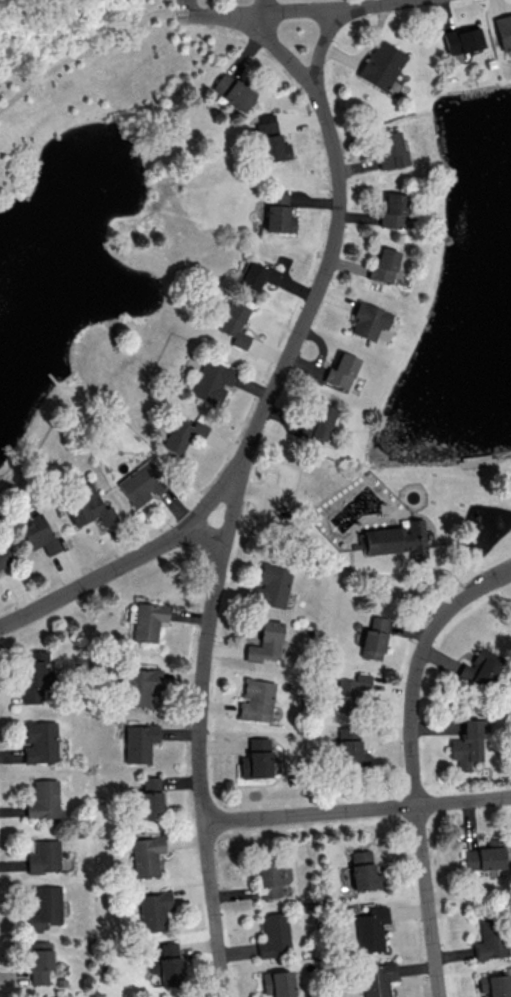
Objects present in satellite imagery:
road: (260, 6)
road: (190, 7)
road: (301, 9)
parking lot: (185, 10)
building: (503, 30)
building: (461, 39)
road: (320, 45)
road: (92, 51)
road: (285, 54)
building: (380, 64)
building: (231, 90)
park: (86, 106)
building: (270, 141)
building: (388, 150)
road: (28, 190)
building: (392, 210)
building: (278, 213)
building: (382, 264)
building: (256, 275)
building: (367, 319)
building: (235, 324)
building: (340, 370)
building: (212, 381)
building: (320, 420)
building: (184, 434)
building: (142, 483)
road: (258, 490)
parking lot: (276, 498)
building: (89, 507)
park: (383, 517)
building: (37, 534)
road: (204, 535)
road: (224, 537)
building: (392, 539)
building: (4, 554)
road: (130, 559)
road: (344, 565)
road: (415, 574)
building: (272, 586)
building: (148, 621)
building: (373, 638)
building: (266, 643)
building: (484, 667)
building: (34, 674)
building: (139, 686)
building: (350, 691)
building: (257, 700)
building: (39, 741)
building: (139, 742)
building: (347, 744)
building: (467, 744)
building: (256, 759)
road: (411, 762)
building: (150, 798)
building: (42, 799)
road: (356, 809)
building: (146, 855)
building: (44, 856)
building: (485, 858)
building: (364, 871)
building: (270, 877)
building: (45, 908)
building: (154, 910)
building: (372, 929)
building: (274, 934)
building: (490, 941)
building: (39, 961)
building: (167, 964)
building: (378, 979)
building: (279, 983)
building: (495, 985)

